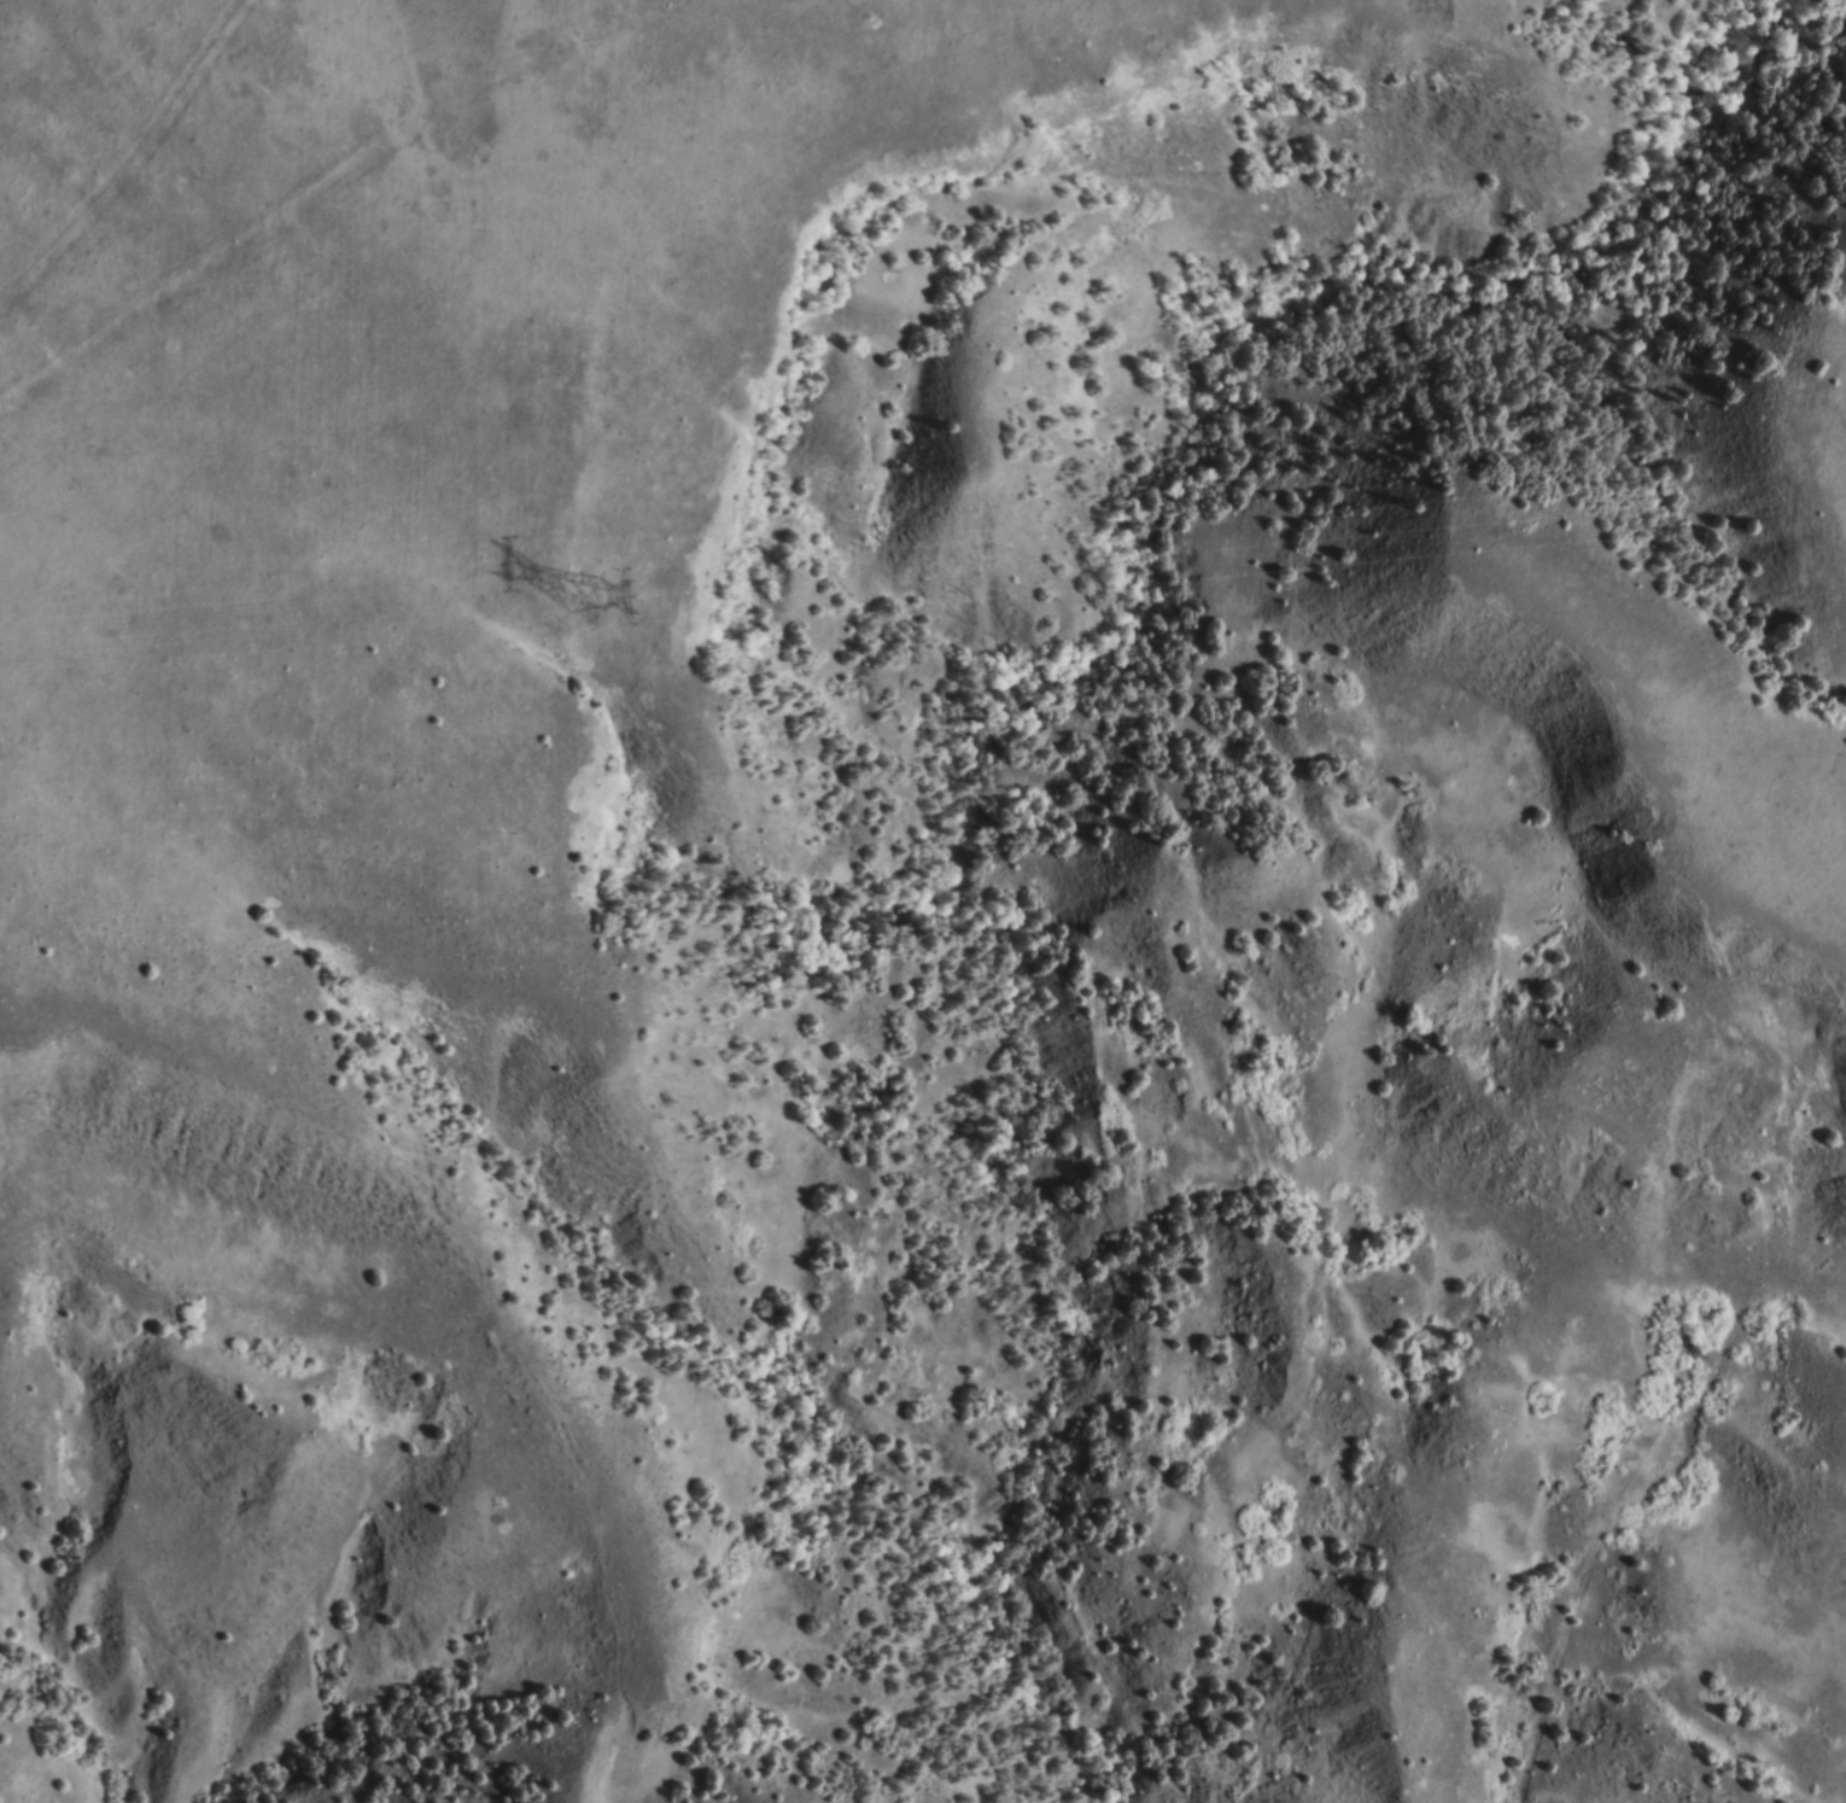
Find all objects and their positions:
power tower: (580, 594)

